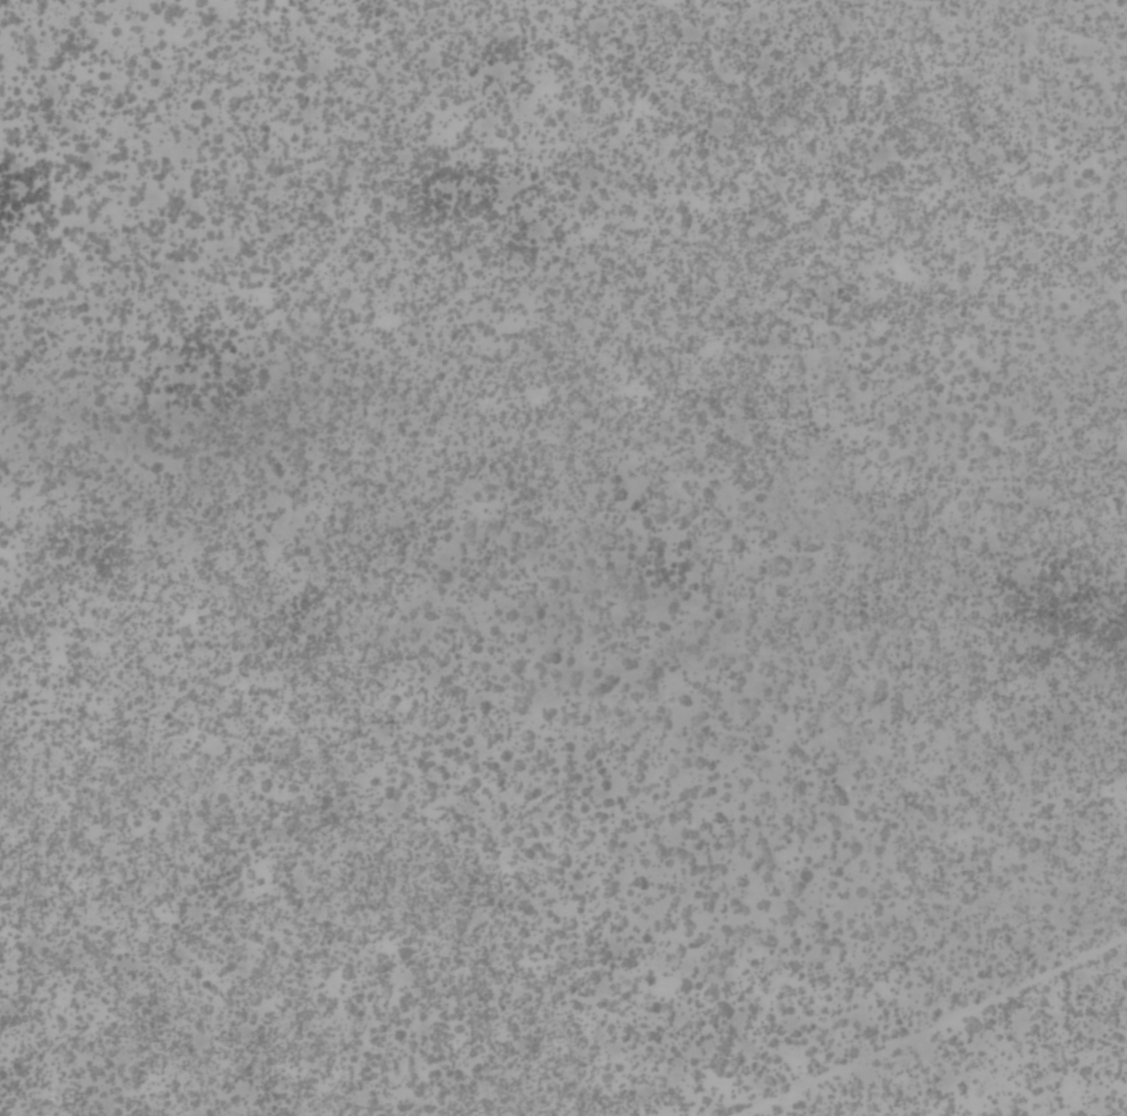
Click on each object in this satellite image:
road: (925, 1022)

